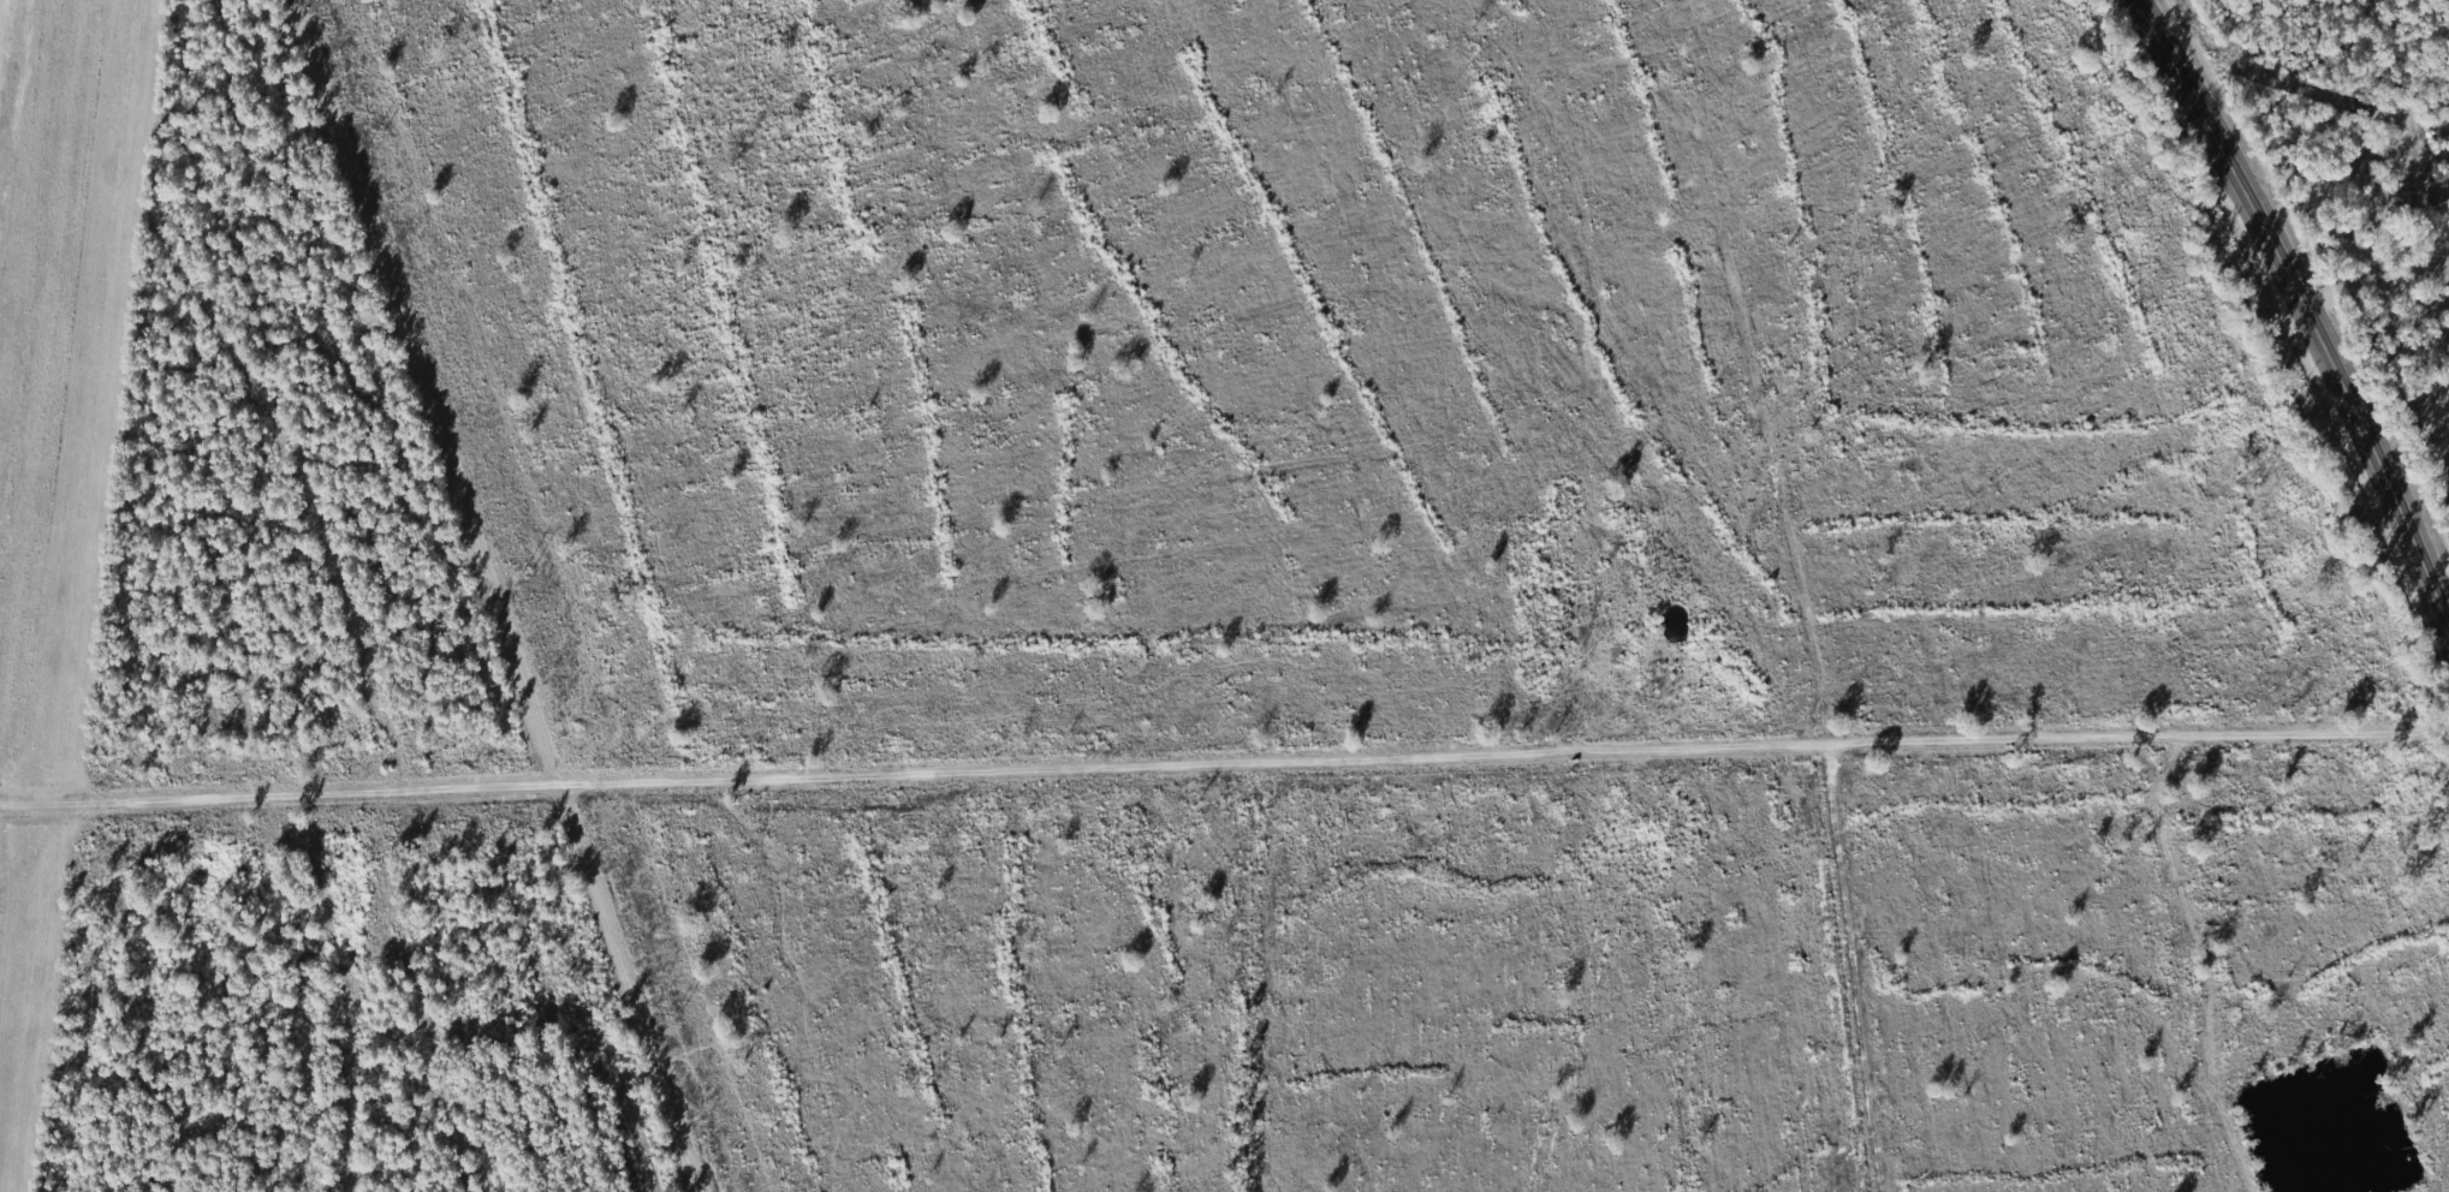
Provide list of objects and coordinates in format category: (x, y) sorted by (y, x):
power tower: (378, 139)
road: (2376, 264)
road: (2307, 306)
power tower: (528, 573)
road: (1512, 752)
road: (289, 780)
road: (593, 978)
power tower: (679, 1012)

